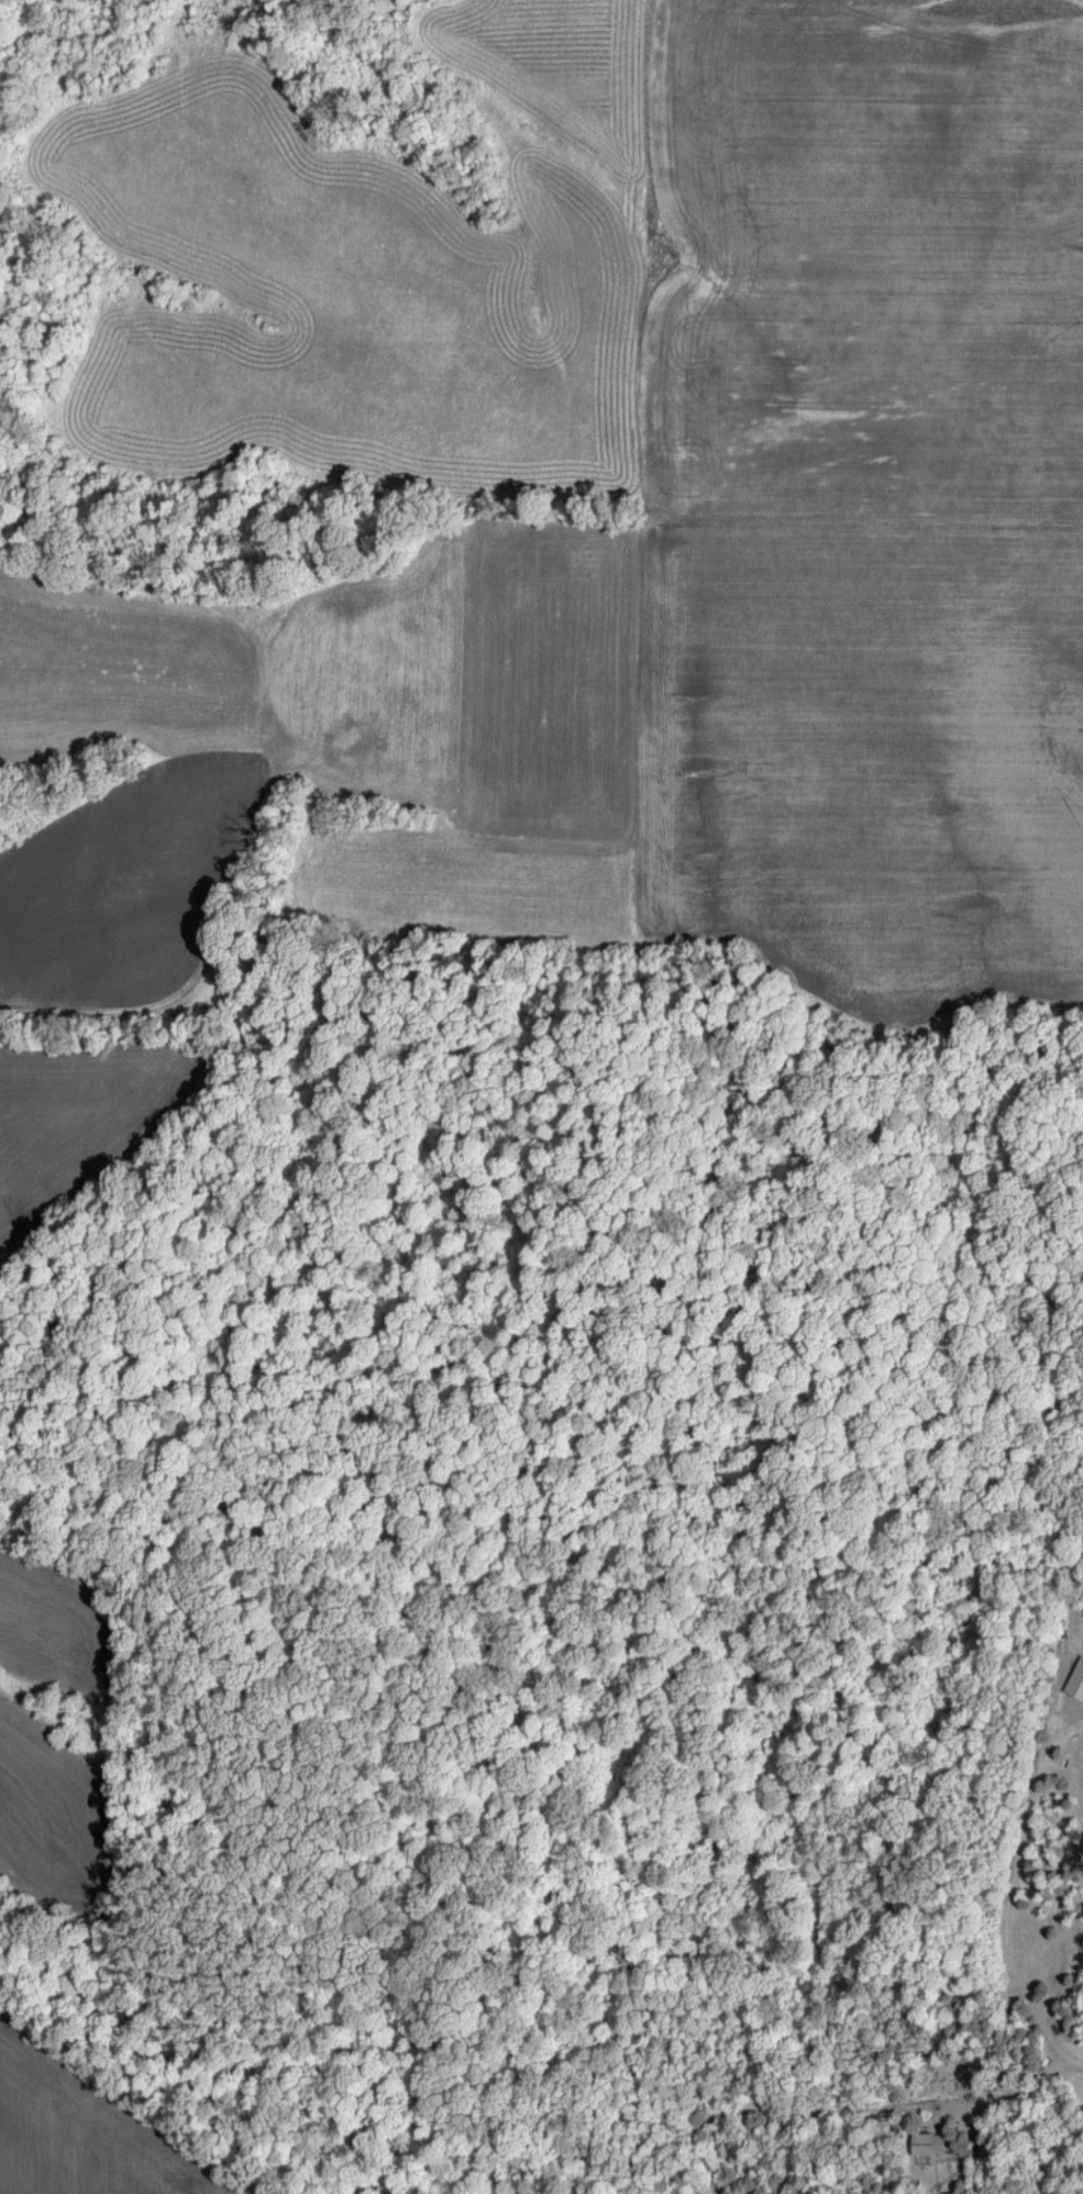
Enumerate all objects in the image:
road: (1010, 1895)

